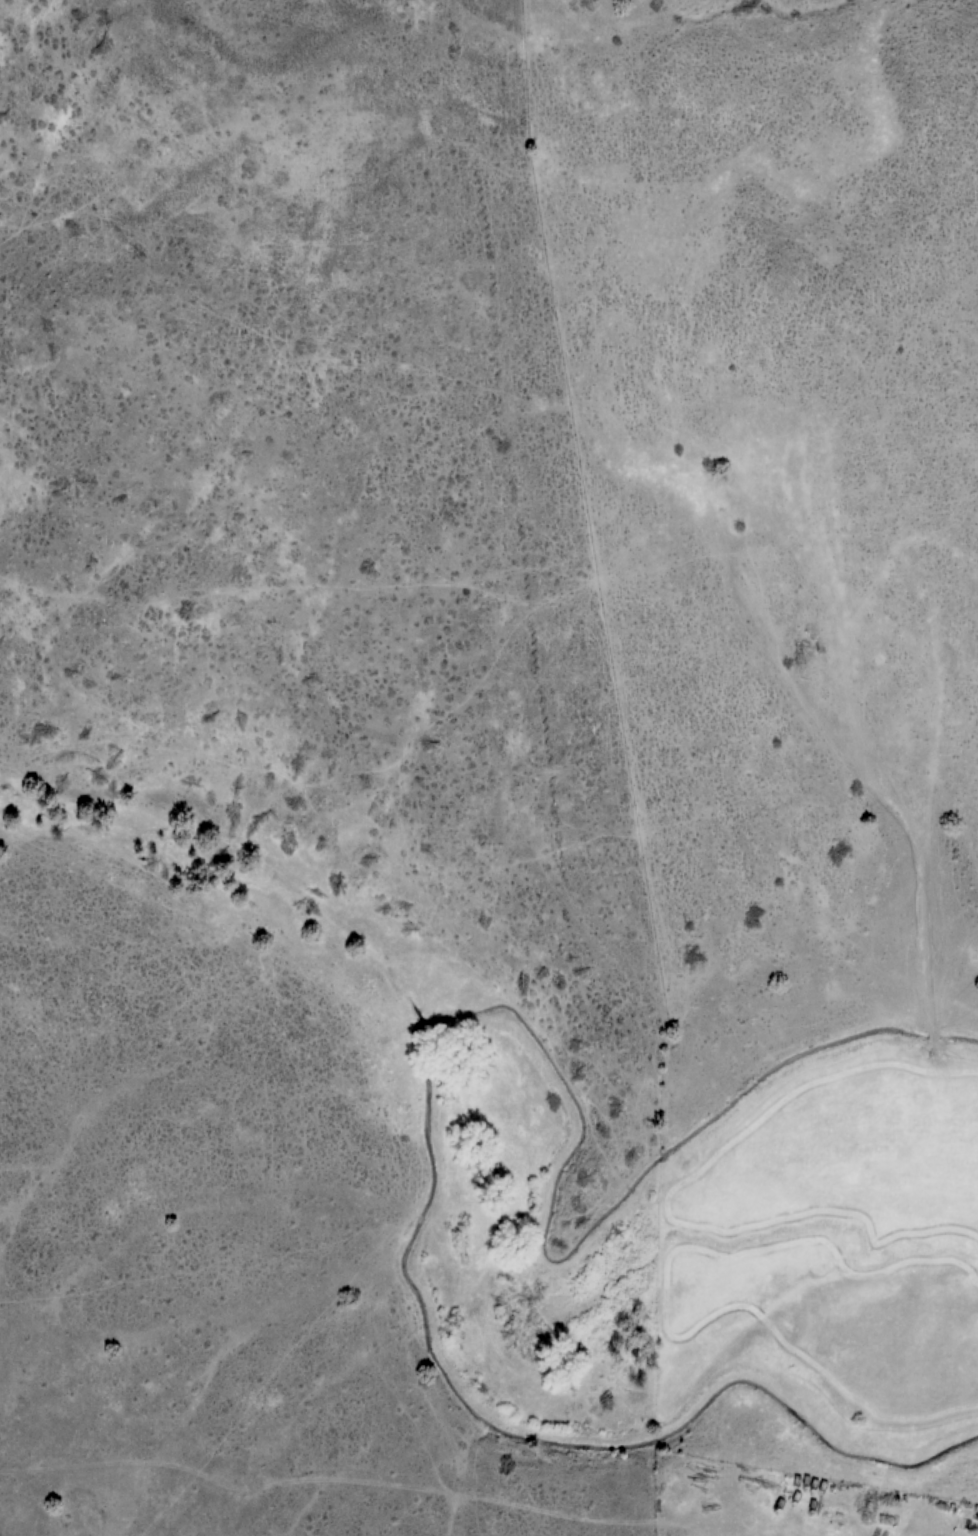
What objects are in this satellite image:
road: (630, 1525)

